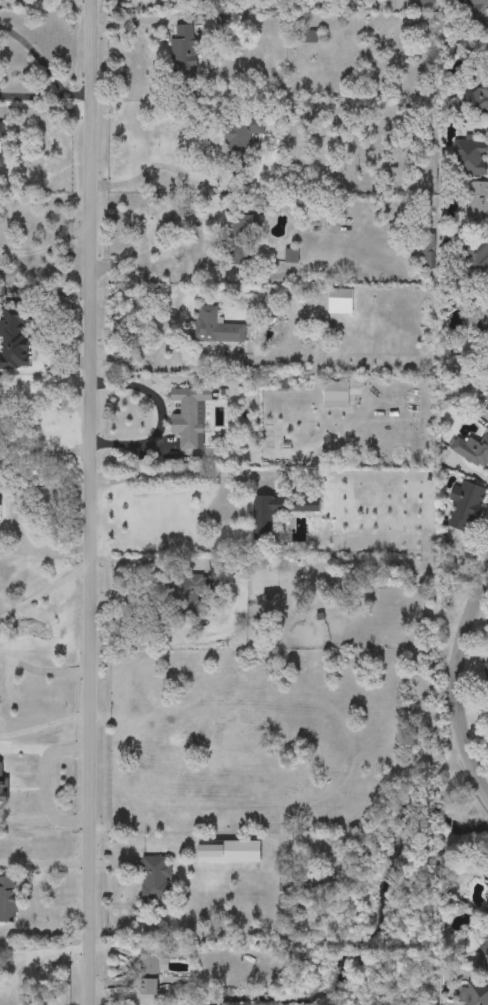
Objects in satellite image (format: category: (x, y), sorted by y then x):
road: (156, 4)
building: (479, 10)
road: (138, 20)
road: (37, 56)
building: (184, 59)
road: (33, 95)
road: (79, 96)
building: (480, 101)
road: (45, 110)
building: (2, 130)
building: (241, 137)
road: (30, 158)
building: (2, 159)
building: (471, 159)
road: (147, 166)
building: (478, 201)
building: (238, 236)
road: (48, 247)
road: (138, 251)
building: (472, 259)
building: (333, 297)
building: (487, 309)
building: (216, 327)
road: (39, 330)
building: (14, 337)
road: (163, 371)
building: (487, 410)
building: (188, 414)
road: (160, 415)
road: (47, 451)
building: (473, 451)
road: (178, 475)
building: (0, 498)
building: (367, 501)
road: (97, 502)
building: (467, 507)
building: (263, 526)
road: (48, 550)
road: (157, 563)
road: (49, 588)
building: (191, 593)
road: (134, 598)
road: (45, 668)
building: (487, 677)
road: (455, 680)
road: (46, 727)
road: (24, 749)
road: (46, 783)
building: (3, 788)
building: (230, 850)
road: (44, 864)
road: (116, 864)
building: (154, 876)
building: (8, 898)
building: (487, 914)
building: (487, 918)
road: (63, 949)
road: (17, 953)
building: (483, 955)
building: (155, 958)
road: (134, 968)
road: (20, 972)
building: (150, 986)
building: (475, 993)

